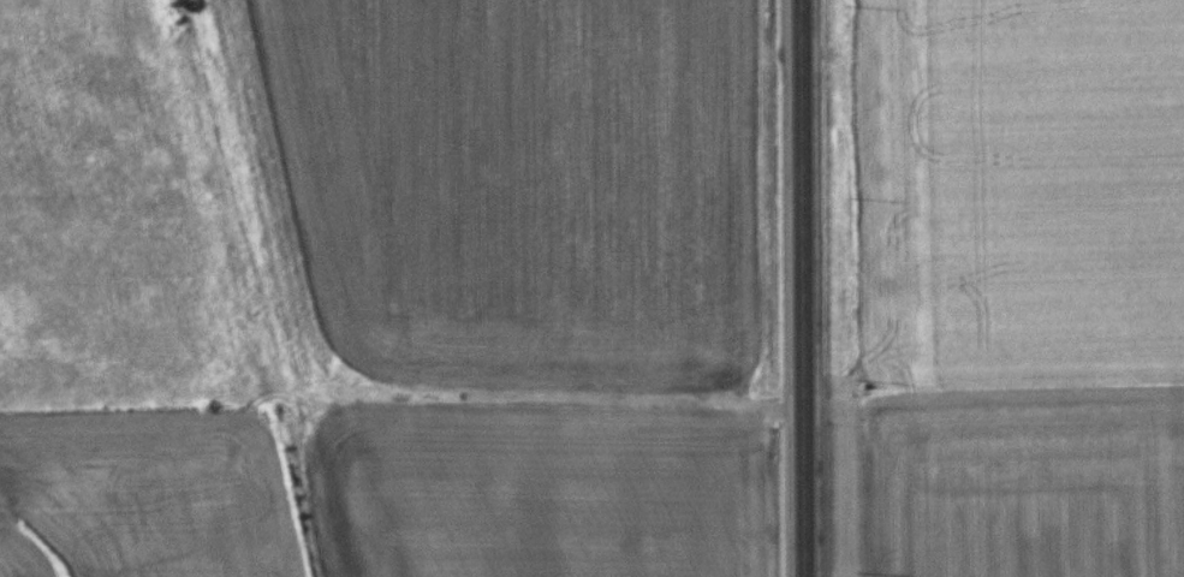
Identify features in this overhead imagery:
road: (805, 288)

